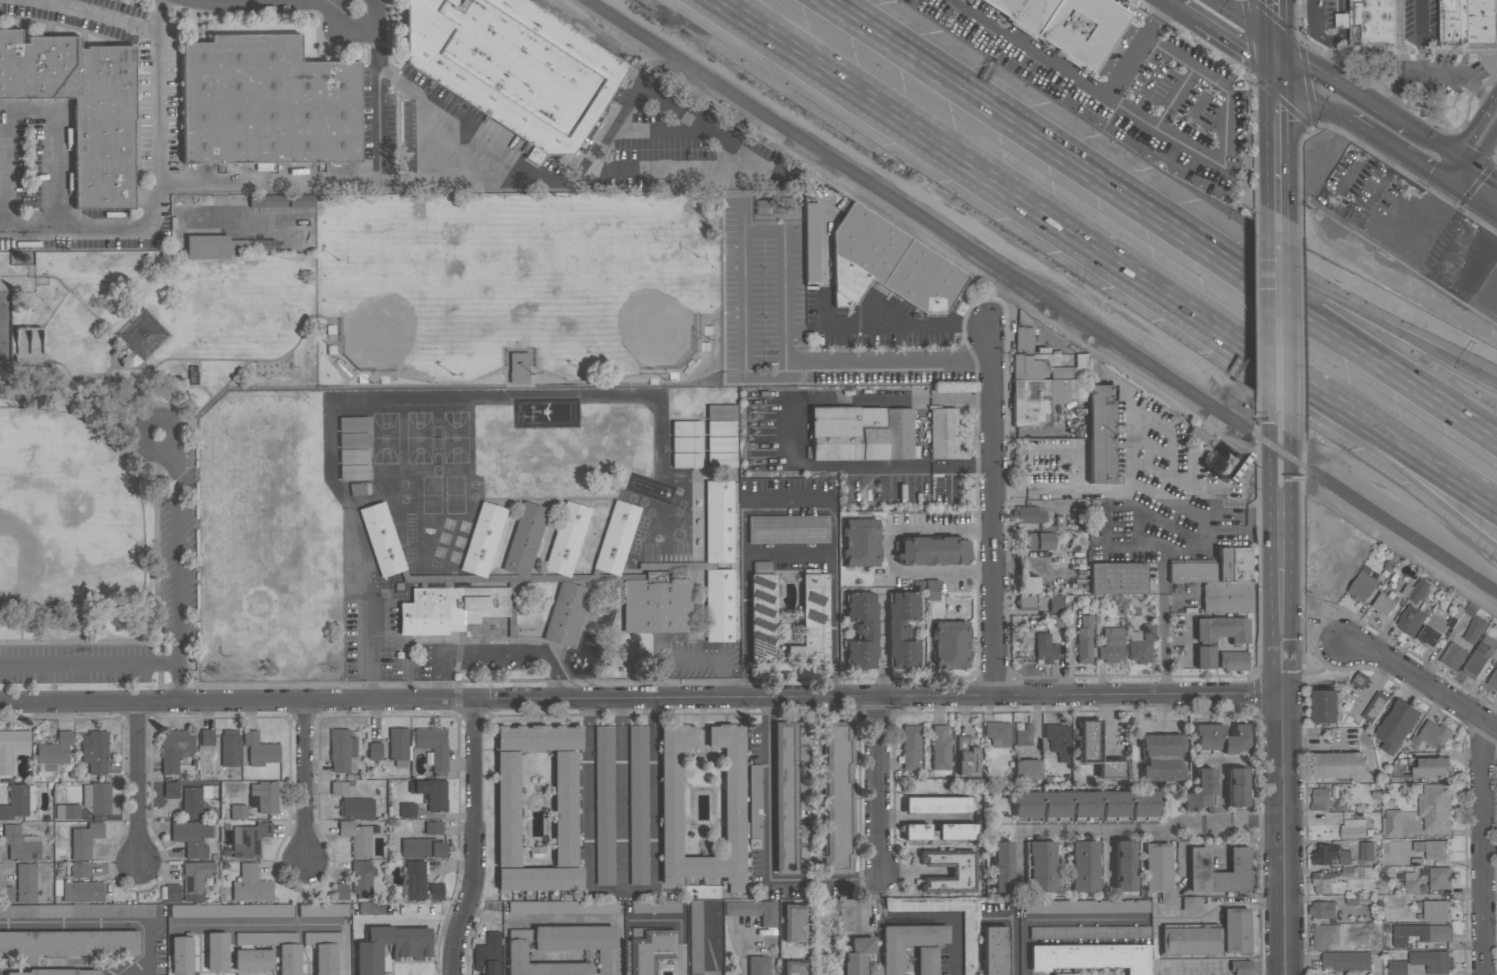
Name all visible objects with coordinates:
road: (1166, 6)
road: (1343, 6)
road: (96, 17)
road: (1317, 17)
road: (1343, 20)
road: (1190, 21)
road: (1243, 22)
road: (1275, 22)
building: (1368, 22)
building: (1466, 22)
building: (1068, 25)
building: (1496, 27)
road: (1422, 37)
road: (1333, 42)
road: (1240, 54)
road: (1276, 61)
building: (512, 67)
road: (924, 68)
road: (938, 68)
road: (1431, 75)
road: (1078, 78)
road: (1342, 87)
road: (1311, 99)
building: (267, 102)
building: (81, 106)
road: (27, 110)
road: (457, 119)
road: (1474, 125)
road: (1224, 144)
road: (1276, 146)
road: (742, 150)
road: (1403, 156)
road: (1453, 158)
road: (425, 159)
road: (1075, 161)
road: (1478, 161)
road: (1445, 168)
road: (972, 169)
road: (328, 181)
road: (158, 187)
building: (301, 200)
building: (267, 201)
road: (1478, 205)
building: (810, 214)
road: (763, 231)
road: (1277, 235)
road: (1458, 239)
building: (223, 246)
building: (1479, 262)
building: (888, 264)
road: (1306, 288)
park: (520, 290)
railway: (1043, 298)
road: (1307, 313)
park: (5, 329)
road: (1278, 329)
building: (143, 334)
building: (1024, 338)
road: (841, 343)
road: (40, 362)
road: (149, 368)
road: (199, 381)
building: (1041, 387)
road: (52, 388)
building: (721, 411)
road: (177, 412)
building: (353, 423)
road: (1364, 423)
building: (686, 427)
building: (721, 427)
road: (795, 432)
building: (860, 433)
building: (943, 433)
building: (1101, 433)
building: (353, 439)
building: (1208, 441)
building: (686, 443)
building: (721, 443)
park: (124, 448)
road: (1361, 448)
building: (354, 455)
building: (686, 459)
building: (721, 459)
building: (354, 471)
road: (1127, 476)
road: (994, 504)
park: (72, 512)
building: (1028, 513)
road: (175, 520)
building: (718, 520)
road: (1135, 522)
building: (788, 528)
road: (156, 535)
building: (616, 537)
building: (382, 538)
building: (483, 538)
building: (525, 538)
building: (567, 538)
building: (1040, 540)
building: (861, 541)
road: (1290, 544)
road: (1270, 545)
building: (1355, 548)
building: (932, 550)
road: (889, 551)
road: (790, 556)
road: (1162, 560)
building: (1118, 578)
building: (1220, 579)
building: (1031, 584)
building: (1362, 586)
building: (932, 589)
building: (1416, 591)
building: (1026, 601)
building: (656, 603)
building: (719, 604)
building: (1055, 604)
building: (1384, 604)
building: (450, 608)
building: (565, 612)
building: (762, 616)
building: (812, 620)
building: (1410, 620)
building: (1437, 627)
building: (1222, 628)
building: (902, 629)
building: (1473, 629)
building: (861, 630)
building: (1084, 638)
road: (389, 640)
road: (79, 641)
building: (951, 644)
building: (1141, 644)
building: (1111, 645)
road: (881, 646)
building: (1045, 648)
road: (497, 652)
building: (1205, 656)
building: (1453, 656)
building: (1480, 657)
road: (692, 658)
building: (1233, 660)
road: (89, 664)
building: (1359, 680)
building: (1493, 680)
road: (1422, 682)
road: (858, 697)
road: (217, 699)
building: (1326, 706)
building: (1373, 707)
building: (1397, 725)
building: (998, 733)
building: (1433, 734)
building: (1024, 735)
building: (207, 736)
building: (1220, 738)
building: (1058, 739)
road: (1313, 744)
building: (398, 745)
building: (433, 745)
building: (911, 745)
building: (11, 747)
building: (230, 747)
building: (940, 747)
building: (175, 748)
building: (341, 748)
building: (259, 749)
building: (54, 750)
building: (94, 750)
building: (375, 751)
building: (1096, 751)
building: (967, 756)
building: (1162, 757)
building: (1339, 766)
building: (1431, 767)
building: (1027, 768)
road: (307, 780)
road: (140, 782)
road: (770, 785)
road: (877, 786)
building: (1237, 787)
building: (338, 788)
building: (171, 789)
building: (1201, 791)
building: (431, 793)
road: (1221, 794)
building: (265, 796)
building: (838, 796)
building: (96, 797)
building: (790, 797)
building: (18, 800)
building: (1320, 800)
building: (670, 801)
building: (755, 801)
building: (191, 802)
building: (638, 804)
building: (937, 804)
building: (604, 805)
building: (1086, 805)
building: (356, 807)
building: (1434, 807)
building: (565, 808)
building: (407, 809)
road: (589, 810)
building: (67, 811)
building: (238, 811)
building: (1391, 823)
building: (433, 827)
road: (1151, 829)
building: (1352, 829)
building: (939, 831)
road: (1284, 833)
building: (192, 836)
building: (357, 837)
road: (477, 838)
building: (84, 839)
building: (249, 839)
building: (20, 843)
building: (422, 847)
road: (1482, 847)
building: (1431, 849)
building: (1366, 851)
building: (1329, 855)
building: (1042, 865)
building: (1083, 865)
building: (1124, 865)
building: (1001, 866)
building: (80, 869)
building: (1159, 870)
building: (963, 871)
building: (1219, 871)
building: (1347, 872)
building: (362, 877)
building: (1439, 878)
building: (196, 879)
building: (414, 880)
road: (823, 880)
building: (1324, 881)
building: (26, 882)
building: (1410, 883)
building: (251, 884)
building: (82, 891)
building: (341, 891)
building: (435, 891)
road: (637, 891)
building: (172, 892)
building: (6, 894)
building: (1351, 900)
building: (1191, 903)
building: (652, 906)
building: (1086, 906)
building: (562, 907)
building: (122, 910)
building: (231, 910)
building: (324, 910)
building: (753, 910)
building: (1322, 910)
building: (1436, 910)
building: (36, 912)
road: (1173, 916)
building: (846, 919)
road: (926, 919)
road: (595, 920)
road: (410, 921)
road: (680, 922)
building: (793, 922)
road: (104, 923)
road: (288, 923)
road: (1013, 927)
building: (1089, 932)
building: (965, 933)
building: (1236, 934)
building: (1421, 934)
building: (1324, 936)
building: (695, 937)
building: (1190, 939)
building: (68, 943)
building: (560, 948)
building: (649, 949)
building: (324, 950)
building: (411, 950)
building: (994, 950)
building: (217, 951)
building: (488, 954)
building: (181, 955)
building: (857, 955)
road: (744, 956)
building: (1090, 957)
building: (253, 959)
building: (289, 959)
building: (892, 960)
building: (1346, 961)
building: (1431, 961)
building: (758, 965)
building: (794, 967)
building: (1241, 967)
building: (1397, 967)
building: (56, 971)
building: (1064, 974)

